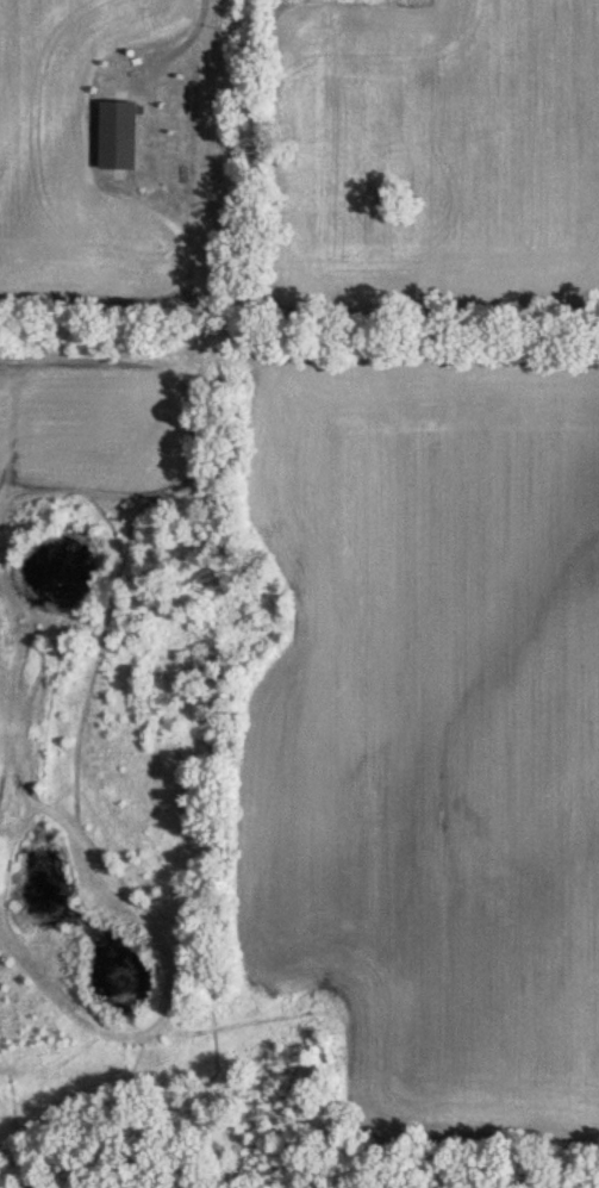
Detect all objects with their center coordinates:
building: (123, 136)

